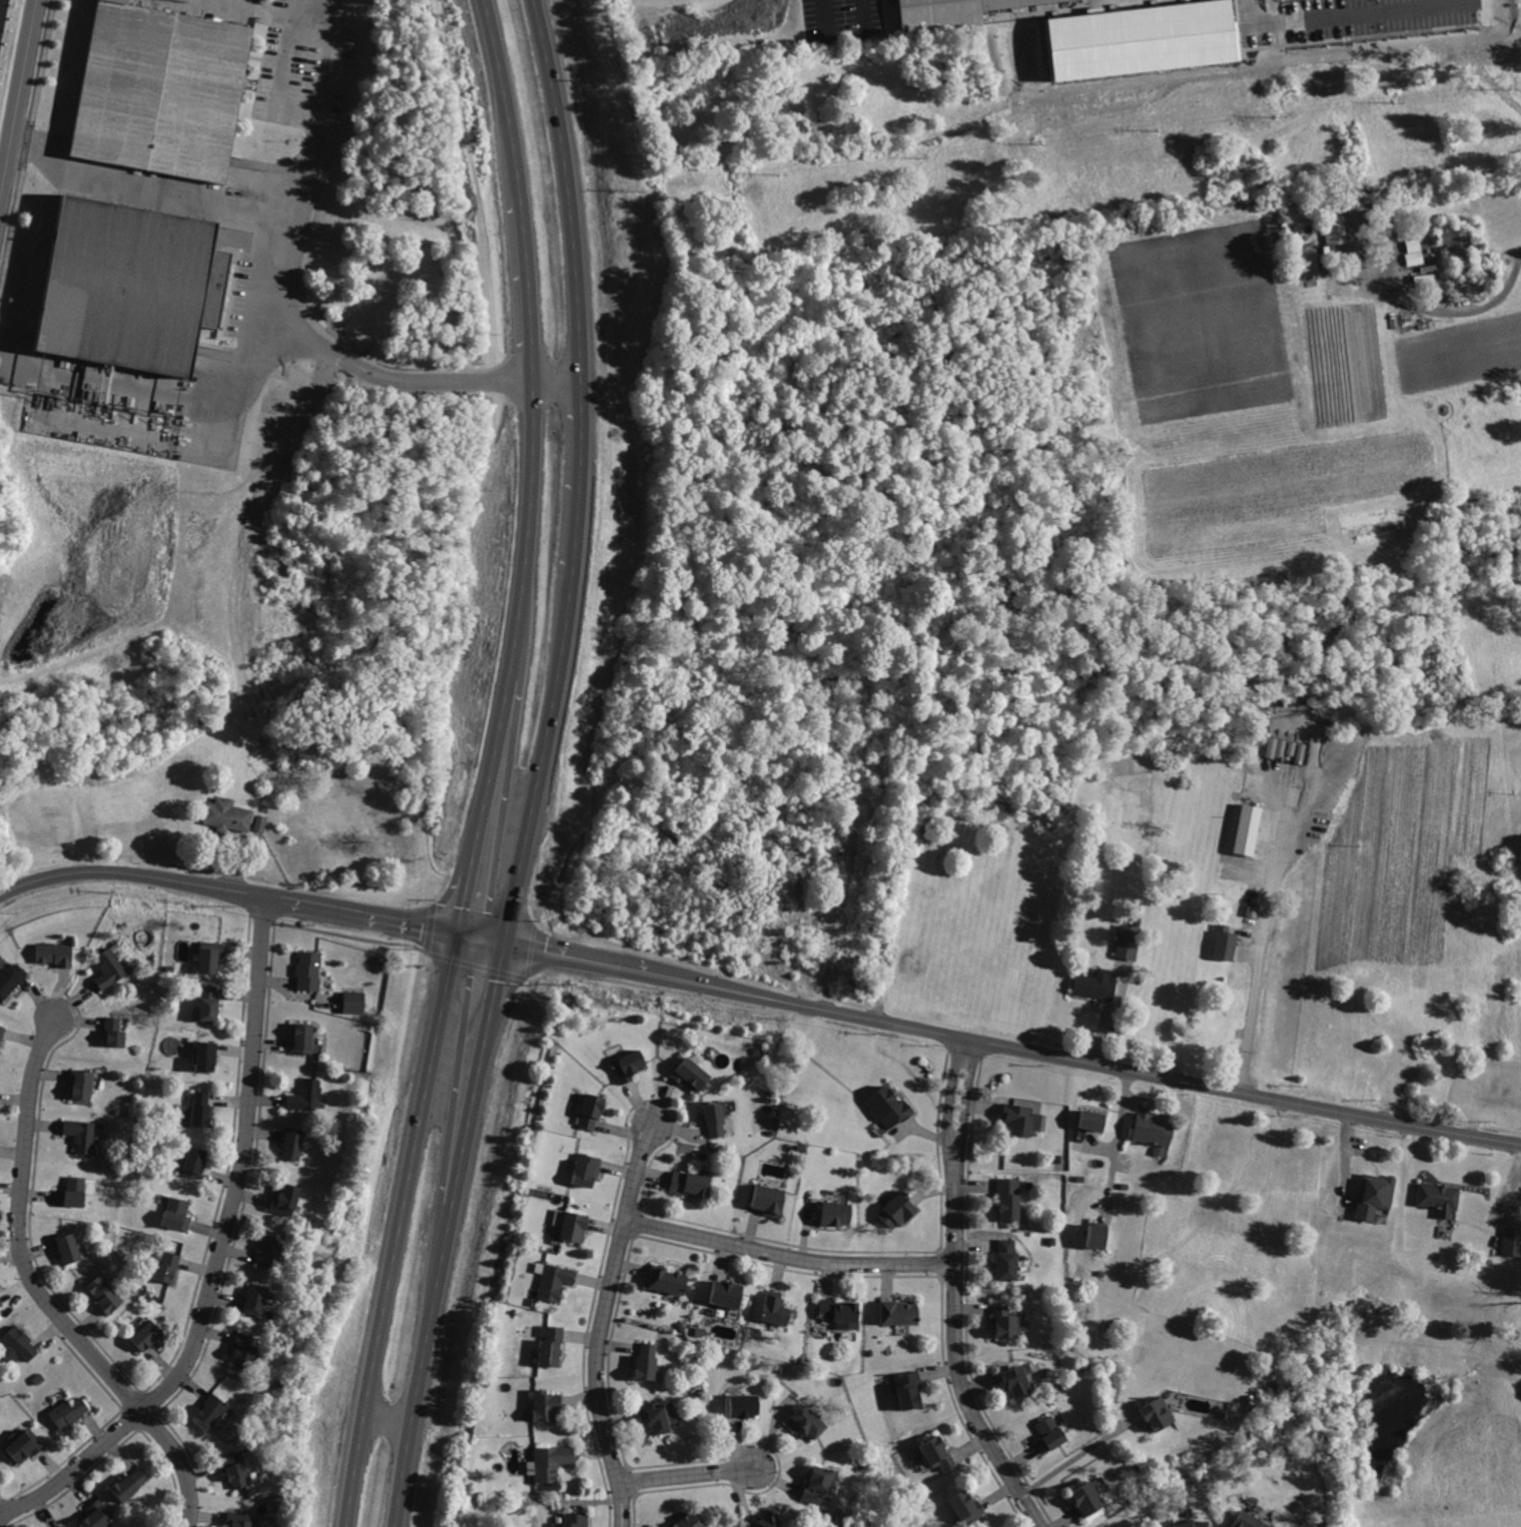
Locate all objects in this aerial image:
building: (1107, 0)
road: (259, 6)
building: (958, 13)
road: (1350, 16)
road: (840, 26)
road: (284, 73)
building: (164, 92)
road: (505, 95)
road: (18, 98)
road: (147, 187)
road: (568, 187)
building: (1334, 230)
building: (1459, 249)
building: (1416, 259)
building: (1308, 261)
road: (288, 283)
road: (526, 284)
building: (126, 290)
road: (1424, 307)
road: (10, 339)
road: (233, 369)
road: (557, 377)
road: (580, 477)
road: (529, 529)
road: (544, 761)
road: (496, 777)
building: (227, 815)
building: (1245, 829)
road: (131, 875)
road: (468, 906)
road: (363, 918)
traffic signals: (462, 937)
road: (484, 941)
building: (1126, 941)
road: (1261, 942)
building: (1222, 944)
traffic signals: (506, 945)
building: (56, 954)
building: (210, 957)
road: (577, 959)
building: (109, 969)
building: (310, 970)
road: (500, 973)
building: (10, 980)
building: (1093, 984)
building: (207, 1002)
building: (355, 1002)
building: (114, 1032)
building: (1, 1035)
building: (302, 1038)
building: (205, 1055)
road: (1084, 1063)
building: (627, 1065)
building: (690, 1073)
building: (79, 1084)
building: (304, 1096)
road: (949, 1100)
road: (968, 1102)
road: (474, 1103)
building: (888, 1106)
building: (201, 1109)
building: (590, 1111)
building: (714, 1117)
building: (1021, 1118)
building: (1091, 1119)
building: (1156, 1132)
building: (82, 1133)
building: (293, 1144)
road: (1116, 1147)
building: (194, 1161)
building: (585, 1169)
building: (1370, 1174)
building: (689, 1183)
building: (72, 1192)
building: (1372, 1194)
building: (1437, 1197)
building: (284, 1198)
building: (767, 1198)
building: (1008, 1198)
building: (897, 1210)
building: (176, 1212)
building: (834, 1212)
building: (557, 1216)
building: (574, 1225)
road: (401, 1231)
building: (1098, 1234)
building: (1510, 1241)
building: (70, 1249)
building: (269, 1249)
road: (221, 1255)
road: (790, 1256)
building: (1005, 1259)
building: (166, 1267)
building: (668, 1279)
building: (555, 1280)
road: (44, 1292)
building: (726, 1293)
building: (104, 1294)
building: (255, 1298)
building: (1, 1303)
building: (775, 1309)
building: (898, 1310)
building: (839, 1312)
building: (1003, 1321)
road: (603, 1325)
building: (147, 1335)
building: (20, 1342)
building: (550, 1346)
building: (243, 1351)
road: (958, 1355)
building: (646, 1360)
road: (422, 1364)
building: (1019, 1377)
building: (908, 1388)
building: (546, 1403)
building: (744, 1404)
building: (211, 1410)
building: (69, 1411)
building: (1157, 1412)
building: (658, 1413)
road: (389, 1421)
building: (806, 1421)
building: (1050, 1434)
building: (24, 1444)
building: (939, 1453)
road: (1083, 1454)
building: (551, 1461)
building: (234, 1467)
road: (686, 1476)
building: (129, 1483)
building: (818, 1484)
building: (1087, 1496)
building: (967, 1505)
building: (96, 1514)
building: (238, 1518)
building: (575, 1518)
building: (689, 1519)
building: (1252, 1519)
building: (765, 1520)
building: (1189, 1522)
building: (62, 1525)
building: (1119, 1526)

